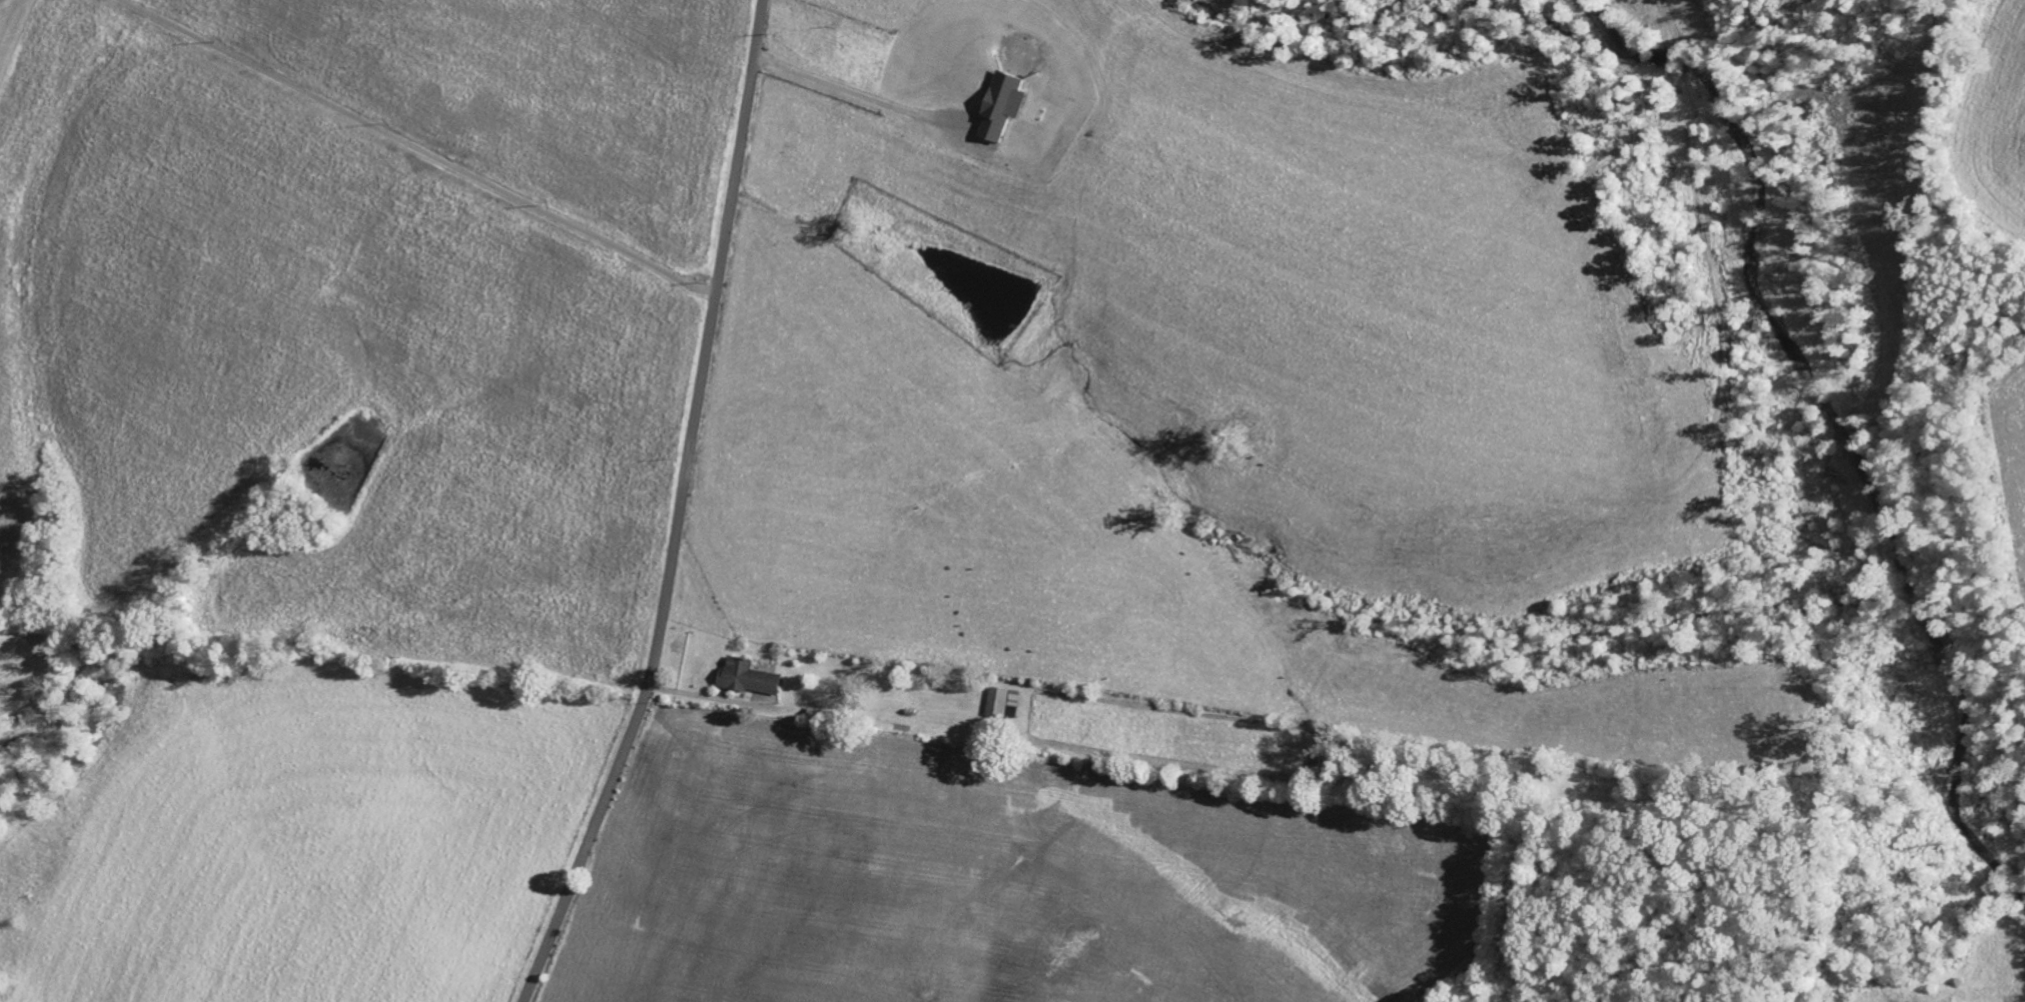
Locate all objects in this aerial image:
road: (861, 94)
building: (999, 103)
road: (418, 149)
road: (680, 511)
building: (745, 676)
building: (1000, 701)
building: (908, 710)
building: (824, 713)

